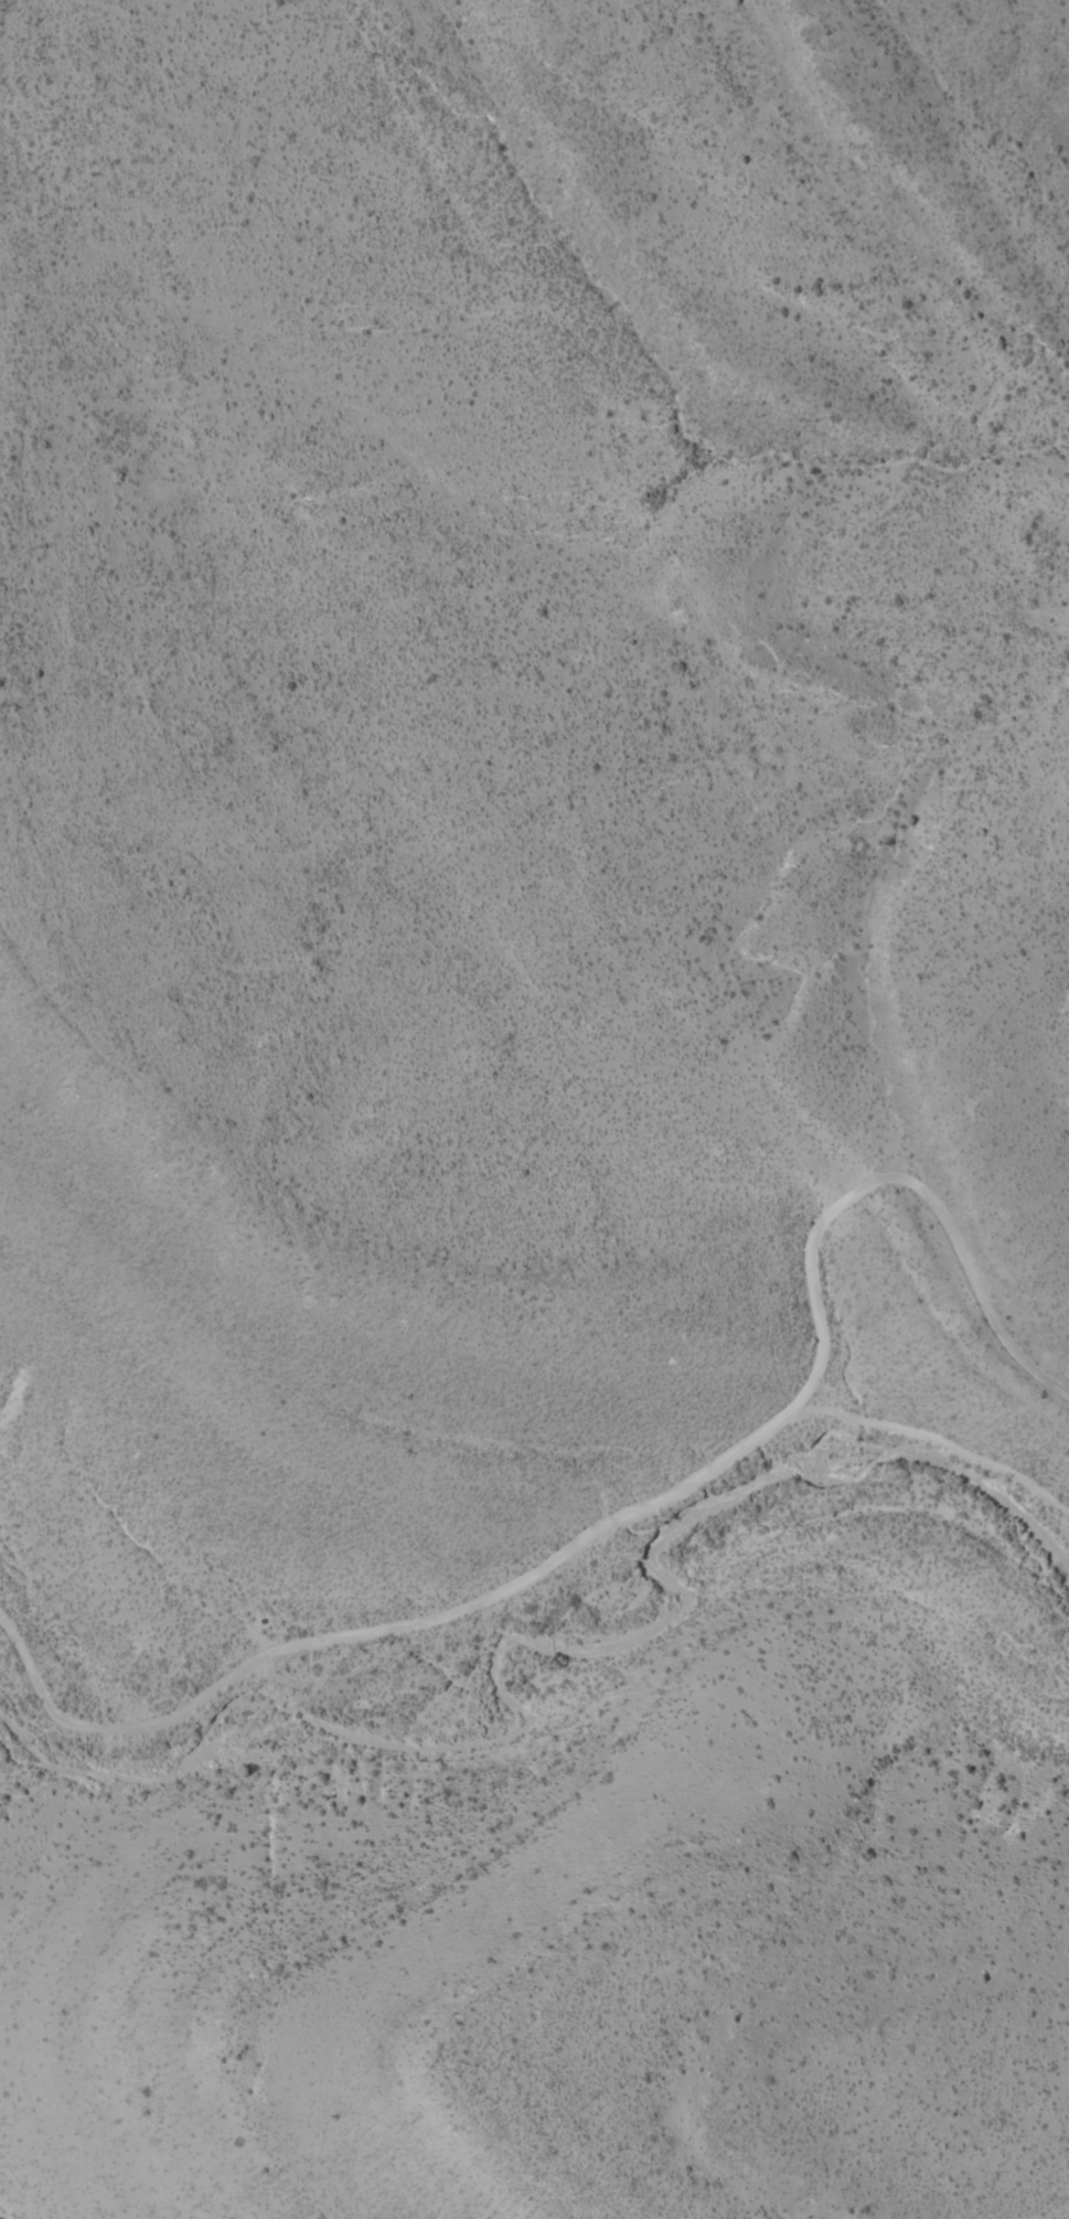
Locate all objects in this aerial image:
road: (641, 1504)

